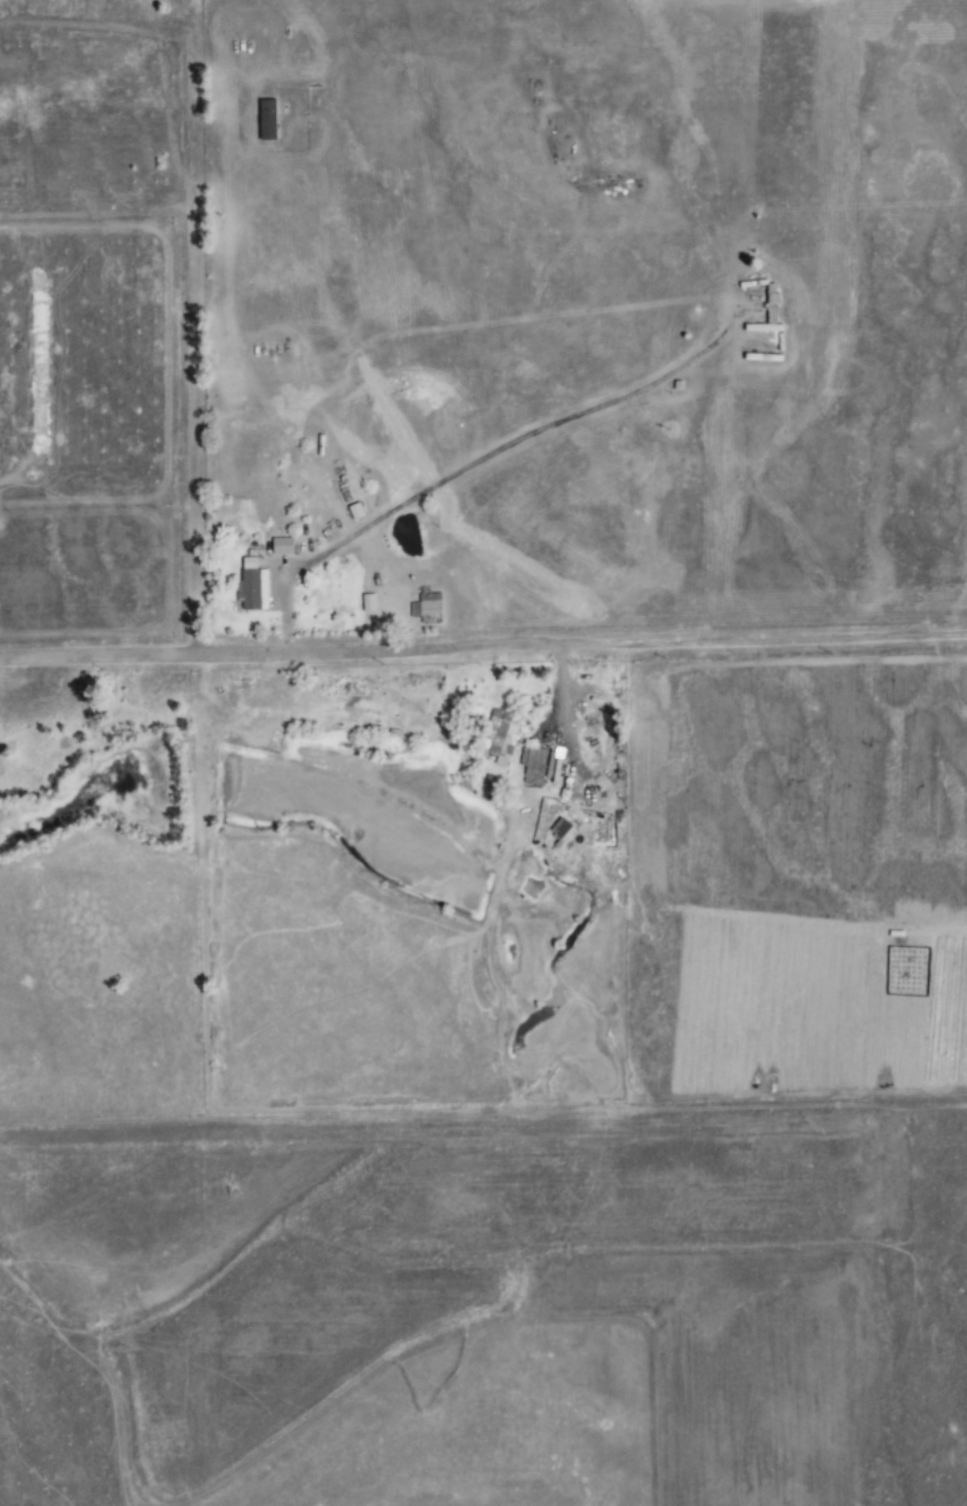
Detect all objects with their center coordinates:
building: (266, 120)
building: (770, 307)
road: (193, 458)
building: (280, 546)
building: (251, 587)
building: (367, 603)
building: (425, 606)
road: (681, 641)
road: (197, 654)
building: (499, 737)
building: (532, 766)
building: (492, 782)
building: (561, 831)

